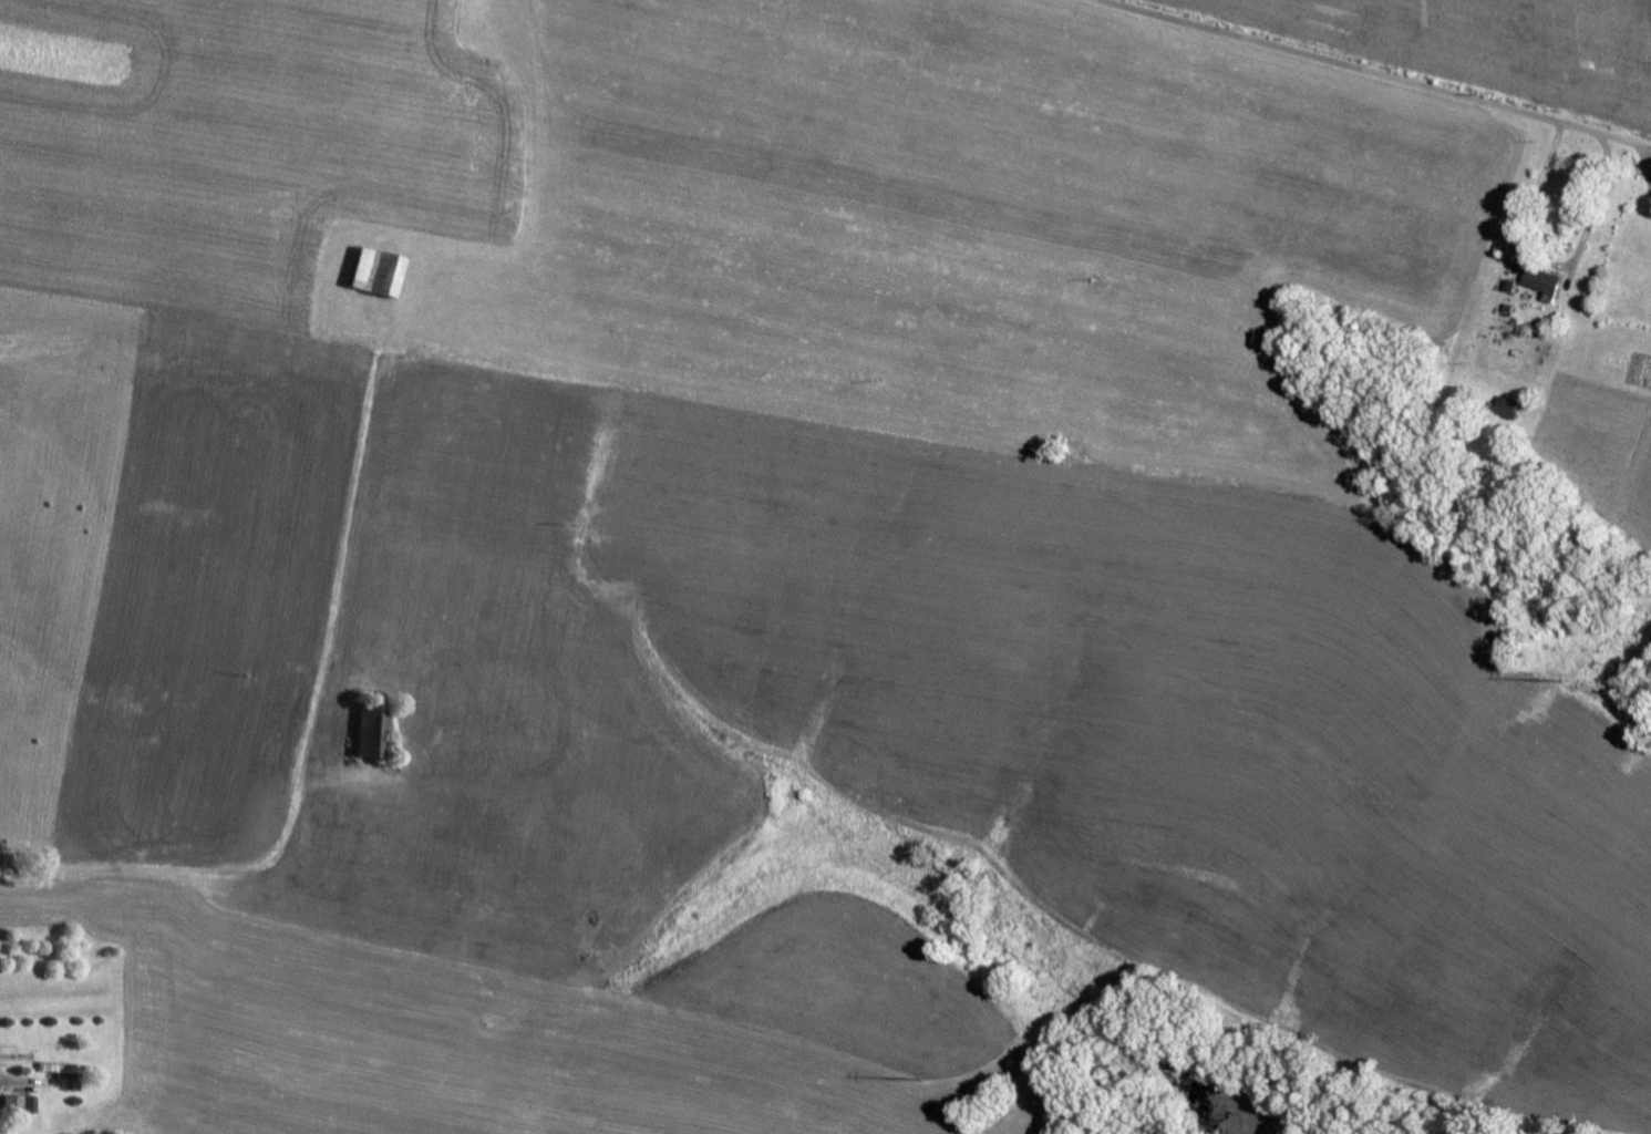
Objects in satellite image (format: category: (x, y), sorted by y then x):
road: (1366, 74)
building: (371, 269)
building: (1536, 279)
building: (368, 725)
road: (178, 874)
building: (17, 1103)

